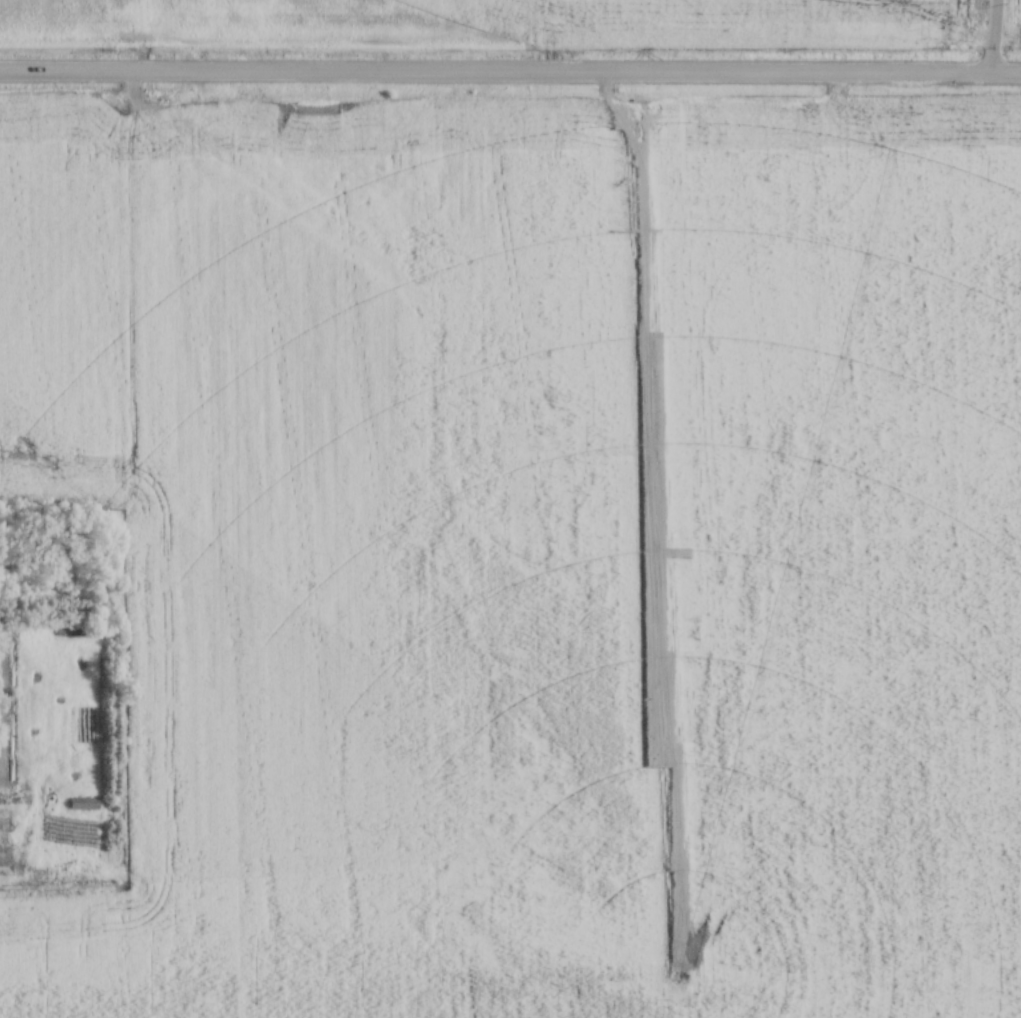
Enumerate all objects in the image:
crop: (1015, 19)
crop: (495, 21)
road: (993, 36)
road: (510, 75)
crop: (541, 566)
building: (78, 630)
building: (84, 801)

